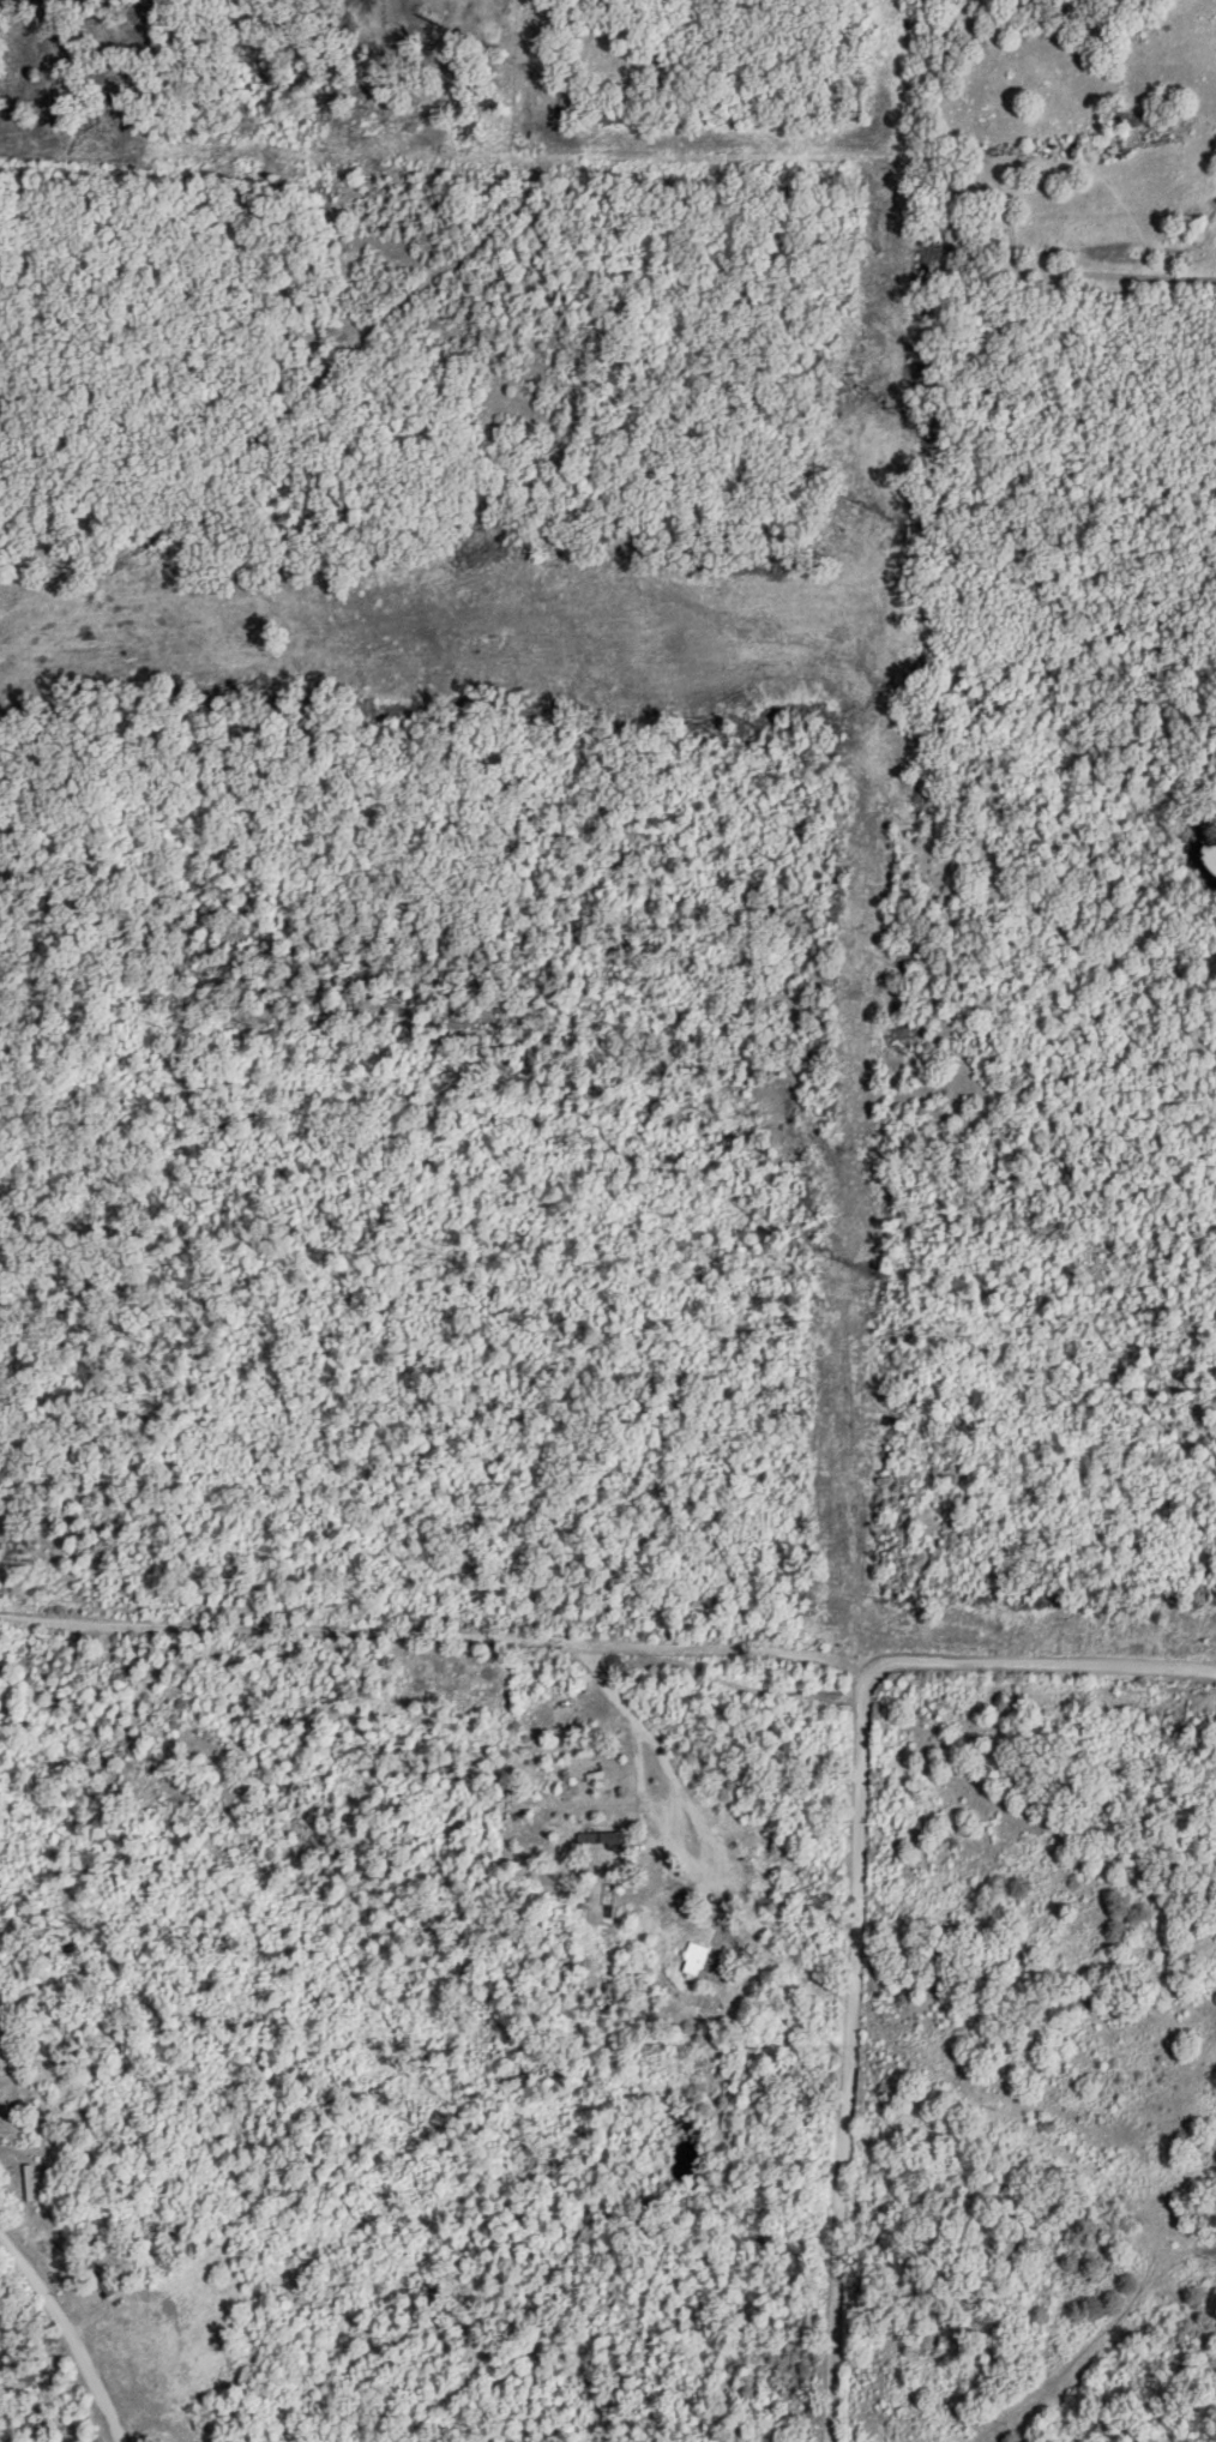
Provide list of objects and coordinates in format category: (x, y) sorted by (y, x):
road: (289, 1634)
road: (1052, 1665)
building: (643, 1927)
building: (706, 1965)
road: (851, 2045)
road: (68, 2333)

